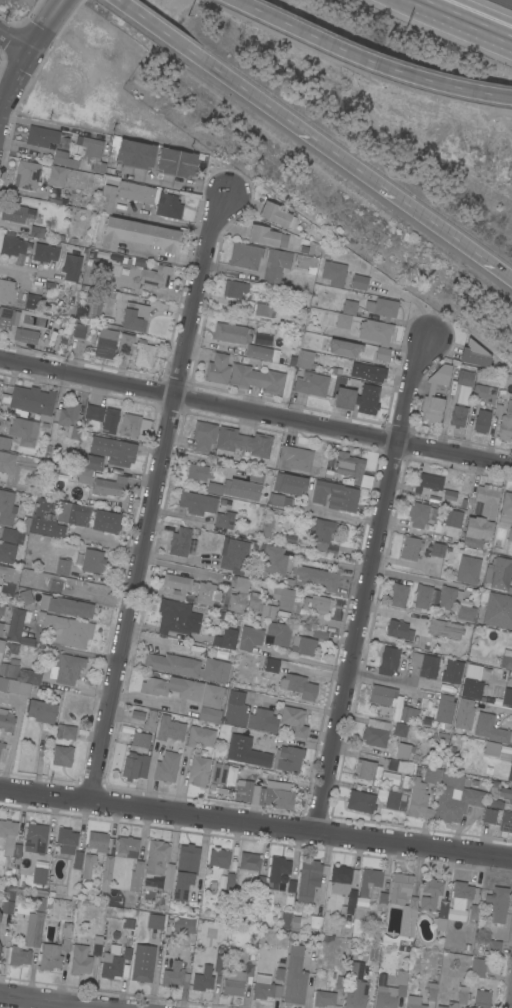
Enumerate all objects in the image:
railway: (505, 2)
road: (467, 18)
road: (162, 33)
road: (14, 42)
road: (26, 54)
road: (368, 61)
road: (52, 126)
building: (42, 136)
building: (93, 153)
building: (135, 154)
building: (65, 159)
building: (175, 162)
road: (361, 172)
building: (26, 175)
building: (57, 176)
road: (174, 182)
building: (136, 192)
building: (107, 199)
building: (168, 206)
building: (13, 213)
building: (274, 214)
building: (37, 232)
building: (139, 235)
building: (267, 236)
building: (12, 246)
building: (45, 253)
building: (245, 256)
building: (114, 258)
building: (307, 263)
building: (276, 265)
building: (71, 267)
building: (99, 273)
building: (333, 273)
building: (156, 276)
building: (359, 282)
building: (236, 289)
building: (7, 291)
building: (32, 302)
building: (349, 307)
building: (382, 308)
building: (264, 310)
building: (8, 317)
building: (133, 317)
building: (338, 319)
building: (80, 331)
building: (375, 331)
building: (232, 333)
building: (25, 335)
building: (106, 344)
building: (126, 344)
building: (345, 348)
building: (258, 352)
building: (143, 354)
building: (382, 354)
building: (475, 355)
building: (305, 359)
building: (217, 369)
building: (372, 374)
building: (465, 378)
building: (257, 379)
building: (311, 383)
building: (430, 391)
building: (485, 393)
building: (356, 397)
building: (33, 401)
building: (71, 413)
building: (94, 413)
road: (255, 415)
building: (458, 416)
building: (110, 421)
building: (482, 421)
building: (130, 426)
building: (505, 426)
building: (23, 430)
building: (204, 436)
building: (4, 442)
building: (243, 442)
building: (114, 451)
building: (295, 458)
building: (7, 462)
building: (349, 466)
building: (89, 468)
building: (198, 472)
building: (428, 482)
building: (289, 484)
building: (109, 486)
building: (239, 487)
building: (335, 495)
building: (449, 495)
road: (154, 496)
building: (279, 500)
building: (197, 503)
building: (6, 508)
building: (506, 509)
building: (418, 514)
building: (481, 517)
building: (55, 518)
road: (348, 518)
building: (453, 518)
building: (224, 520)
building: (106, 521)
building: (266, 528)
building: (322, 534)
building: (510, 534)
building: (13, 535)
building: (180, 542)
road: (109, 545)
building: (410, 548)
building: (437, 549)
building: (7, 552)
building: (234, 555)
building: (273, 560)
building: (91, 562)
road: (335, 563)
building: (63, 567)
building: (468, 569)
road: (181, 570)
building: (499, 573)
building: (317, 578)
road: (421, 578)
building: (8, 580)
building: (241, 585)
building: (181, 587)
road: (366, 588)
building: (207, 593)
building: (398, 595)
building: (26, 597)
building: (283, 597)
building: (422, 597)
building: (447, 598)
building: (254, 601)
building: (236, 603)
building: (315, 604)
building: (66, 606)
building: (3, 609)
building: (498, 610)
building: (268, 612)
building: (465, 613)
building: (176, 617)
building: (1, 627)
building: (18, 627)
building: (444, 629)
building: (66, 630)
building: (399, 630)
building: (279, 633)
building: (320, 634)
building: (228, 638)
building: (250, 638)
road: (145, 639)
building: (2, 646)
building: (303, 646)
building: (11, 649)
building: (504, 659)
road: (305, 660)
building: (388, 661)
building: (173, 664)
building: (272, 665)
building: (425, 665)
building: (66, 668)
building: (8, 670)
building: (216, 670)
building: (452, 671)
building: (32, 677)
building: (0, 680)
building: (468, 680)
road: (386, 682)
building: (299, 686)
building: (16, 687)
building: (176, 691)
building: (382, 695)
building: (507, 696)
road: (295, 705)
road: (500, 708)
building: (236, 709)
building: (444, 709)
building: (42, 711)
building: (408, 713)
building: (464, 714)
building: (137, 715)
building: (210, 715)
building: (6, 719)
building: (262, 720)
building: (150, 721)
building: (294, 721)
building: (170, 729)
building: (400, 730)
building: (65, 732)
building: (376, 732)
building: (491, 734)
building: (200, 736)
building: (143, 740)
building: (2, 747)
building: (404, 750)
building: (246, 752)
building: (62, 755)
building: (289, 759)
building: (400, 766)
building: (135, 767)
building: (166, 767)
building: (199, 770)
building: (366, 771)
building: (510, 773)
building: (218, 774)
building: (432, 776)
building: (506, 794)
building: (265, 796)
building: (494, 798)
building: (392, 800)
building: (361, 801)
building: (419, 801)
building: (455, 803)
building: (489, 816)
building: (505, 822)
road: (255, 825)
building: (36, 838)
building: (10, 839)
building: (66, 840)
building: (98, 842)
building: (128, 847)
building: (219, 858)
building: (156, 859)
building: (250, 861)
building: (88, 865)
building: (277, 871)
building: (185, 872)
building: (106, 874)
building: (39, 876)
building: (168, 878)
building: (136, 880)
building: (308, 880)
building: (369, 881)
building: (229, 883)
building: (343, 886)
building: (462, 890)
building: (430, 893)
building: (382, 901)
building: (497, 904)
building: (6, 907)
building: (224, 909)
building: (403, 909)
building: (442, 912)
building: (473, 914)
building: (0, 916)
building: (285, 920)
building: (155, 921)
building: (184, 925)
building: (35, 930)
building: (66, 937)
building: (96, 947)
building: (494, 947)
building: (0, 948)
building: (20, 957)
building: (50, 957)
building: (80, 960)
building: (114, 961)
building: (143, 963)
building: (219, 963)
building: (280, 968)
building: (478, 968)
building: (173, 975)
building: (295, 977)
building: (236, 978)
building: (203, 979)
building: (401, 983)
building: (356, 986)
building: (265, 988)
building: (431, 988)
building: (458, 998)
building: (324, 999)
building: (384, 999)
building: (482, 999)
road: (51, 1000)
building: (414, 1002)

